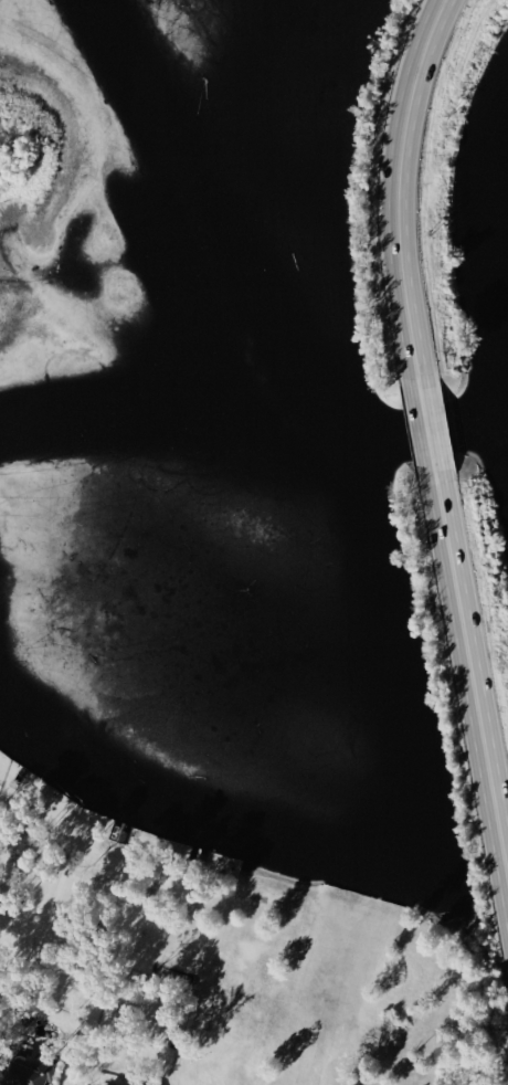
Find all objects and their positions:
road: (395, 185)
road: (426, 430)
road: (473, 689)
building: (27, 1072)

